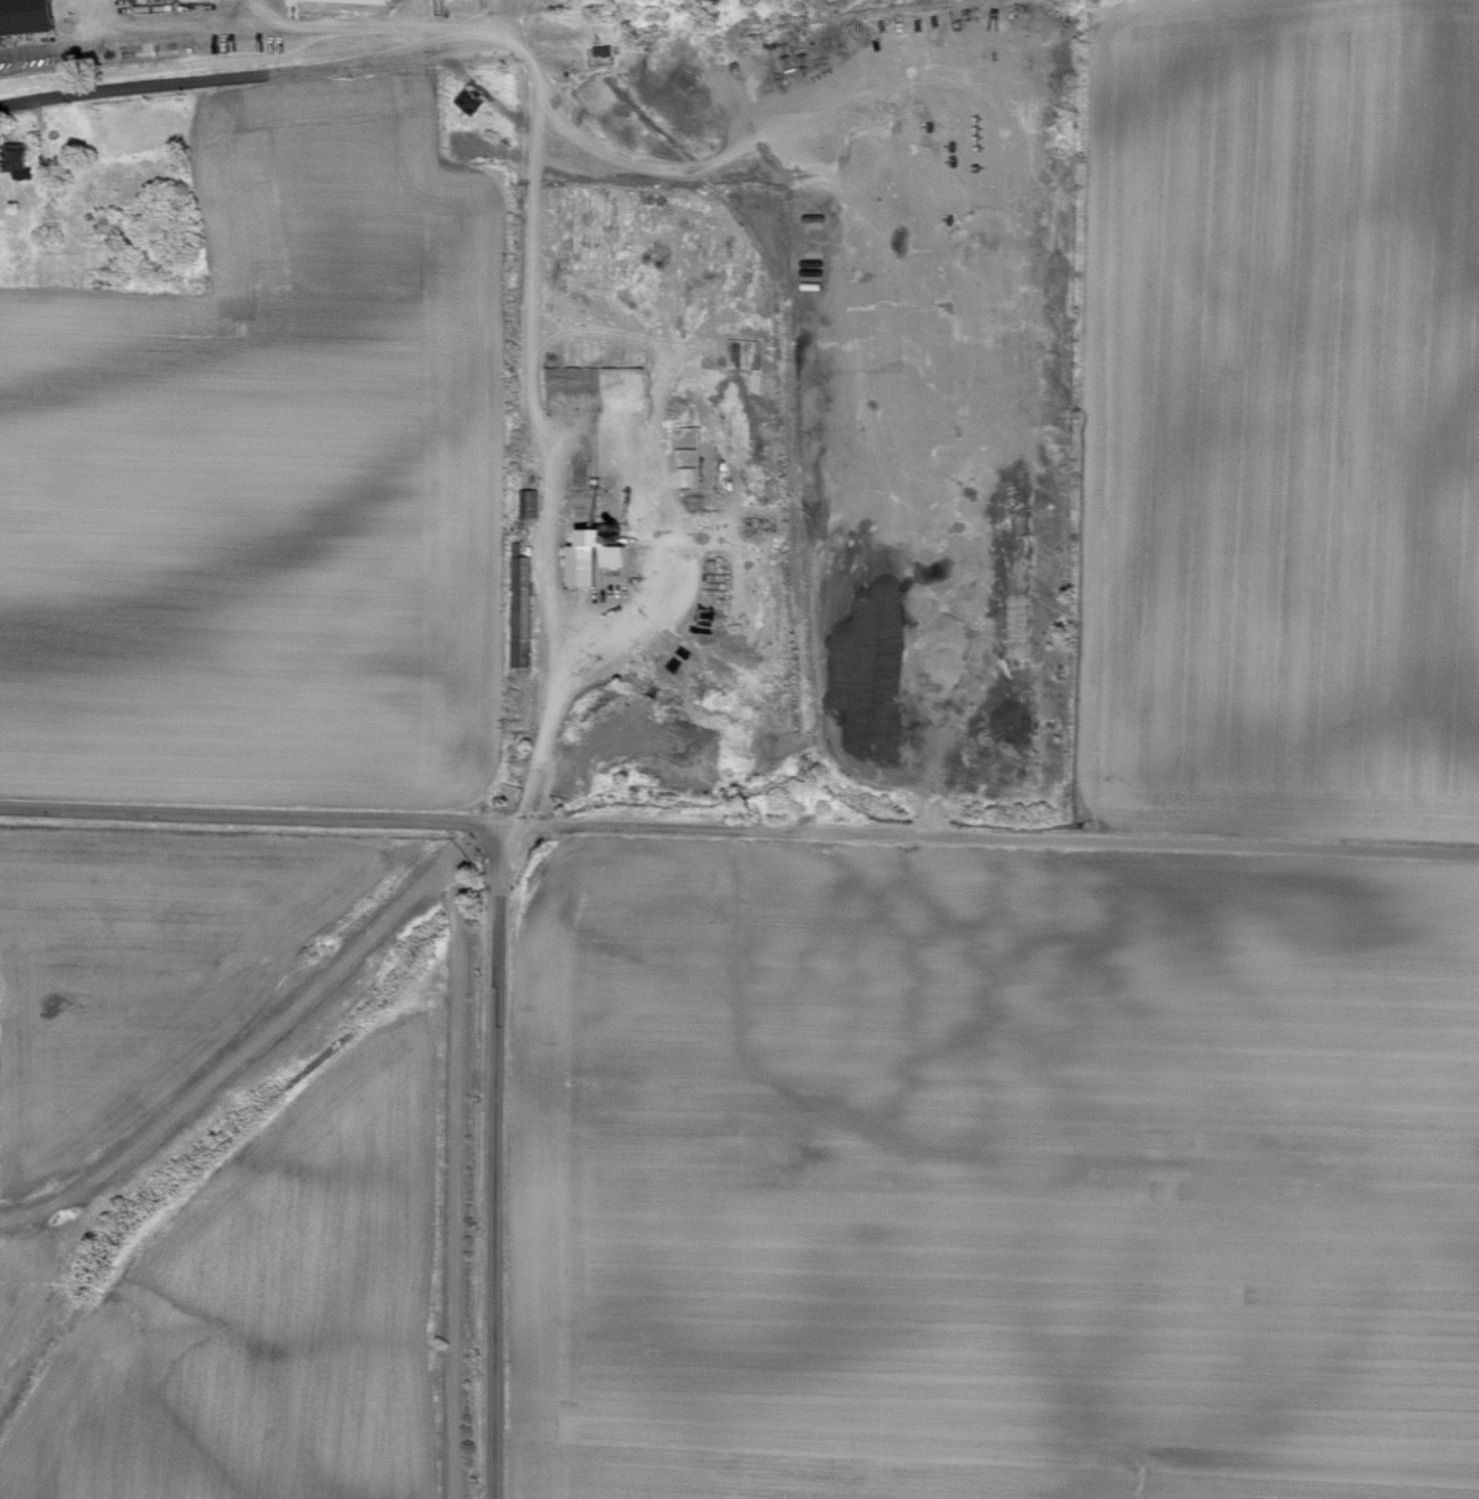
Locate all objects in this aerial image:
building: (141, 2)
building: (343, 2)
road: (239, 11)
road: (506, 12)
building: (29, 16)
road: (515, 23)
road: (294, 24)
road: (258, 79)
building: (471, 102)
road: (734, 157)
building: (24, 163)
building: (113, 224)
road: (541, 441)
building: (600, 557)
road: (739, 825)
road: (460, 1154)
road: (494, 1164)

